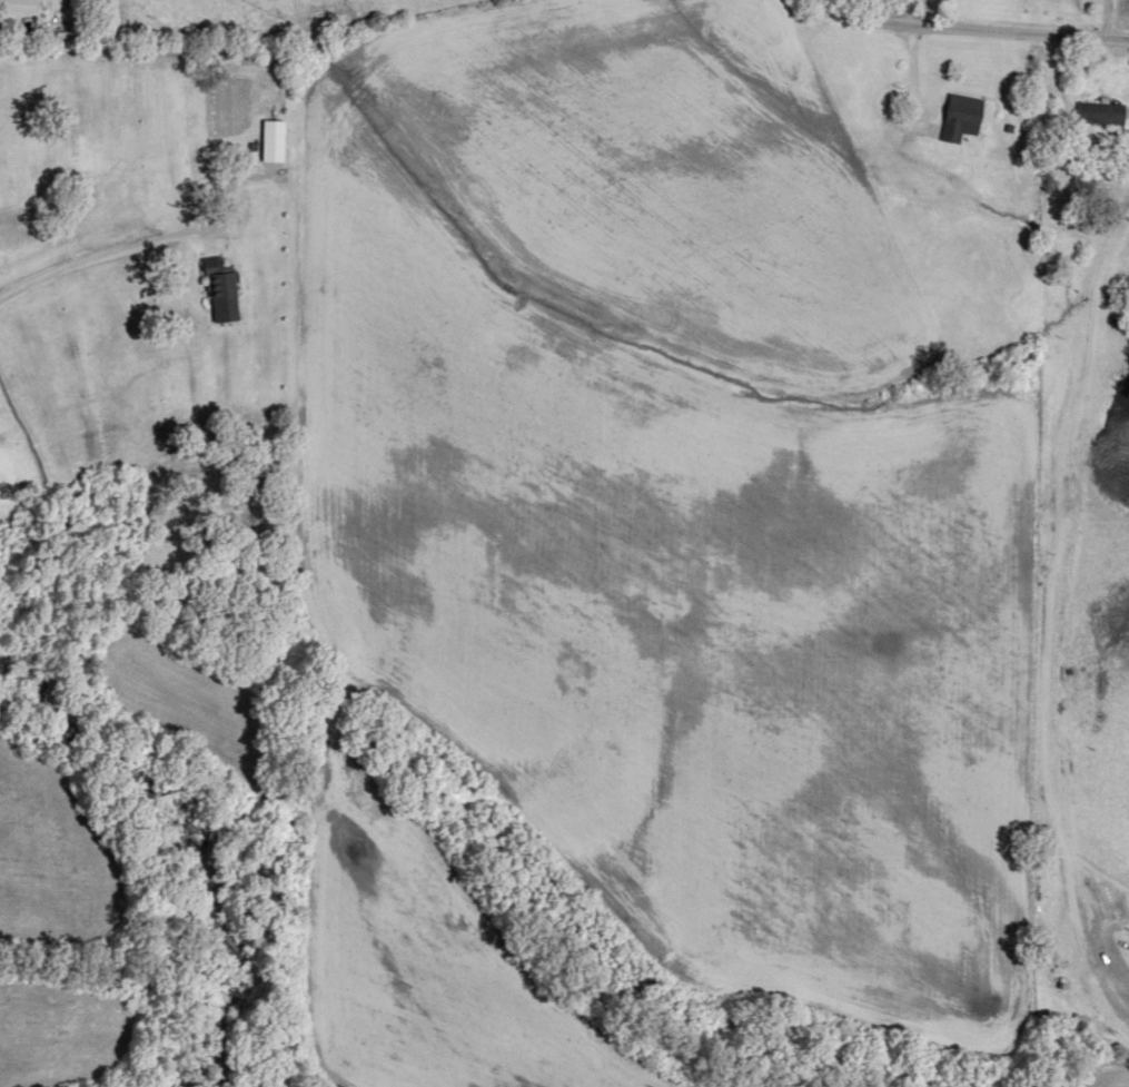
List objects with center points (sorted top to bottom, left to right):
building: (24, 7)
road: (980, 37)
building: (1103, 113)
building: (963, 117)
road: (127, 227)
building: (222, 276)

